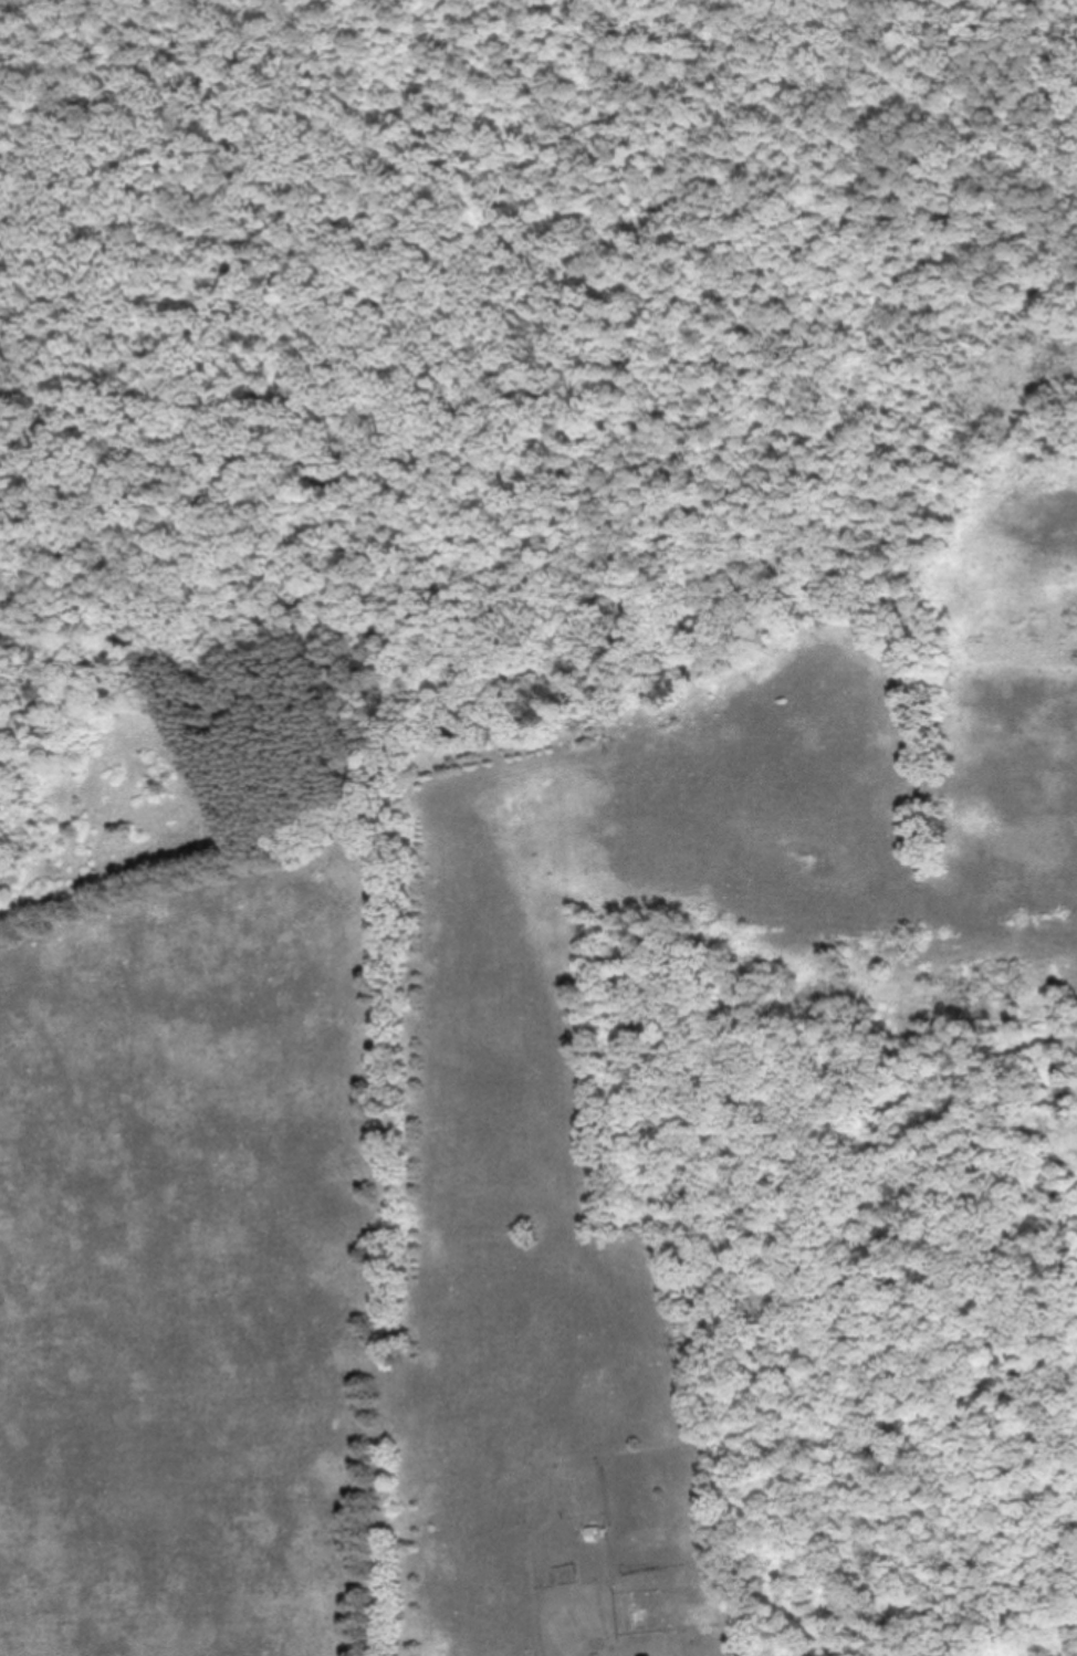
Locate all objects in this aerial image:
park: (232, 778)
building: (588, 1536)

